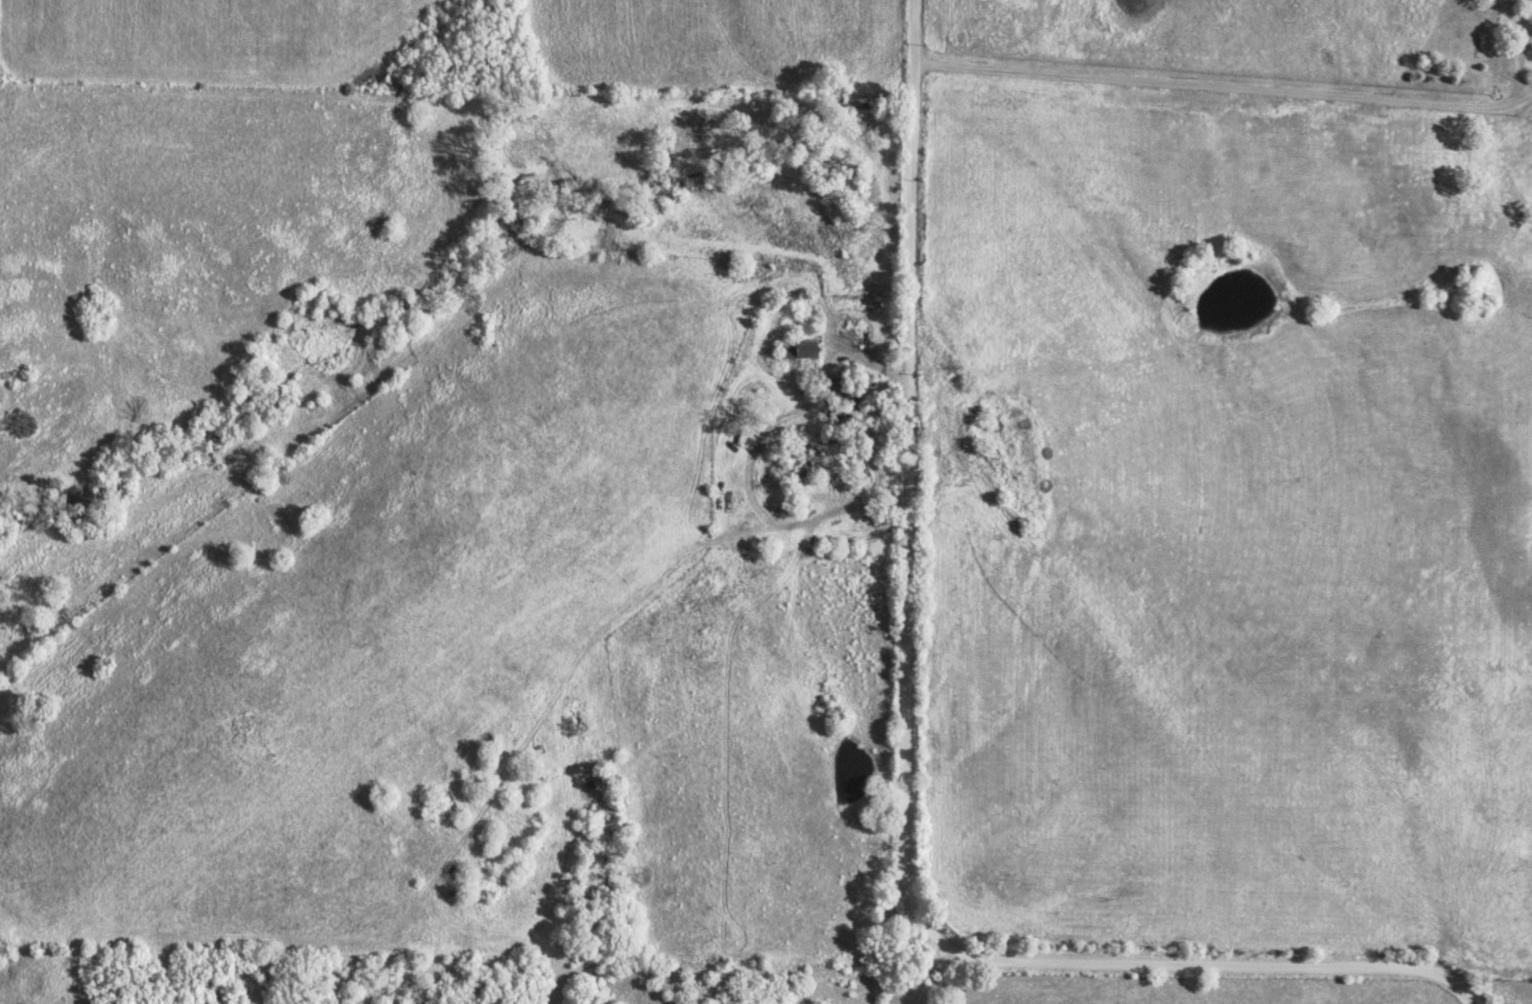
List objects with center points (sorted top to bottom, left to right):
building: (1530, 0)
road: (1225, 89)
road: (568, 273)
building: (798, 349)
building: (834, 390)
building: (867, 424)
building: (801, 468)
road: (815, 515)
road: (904, 759)

